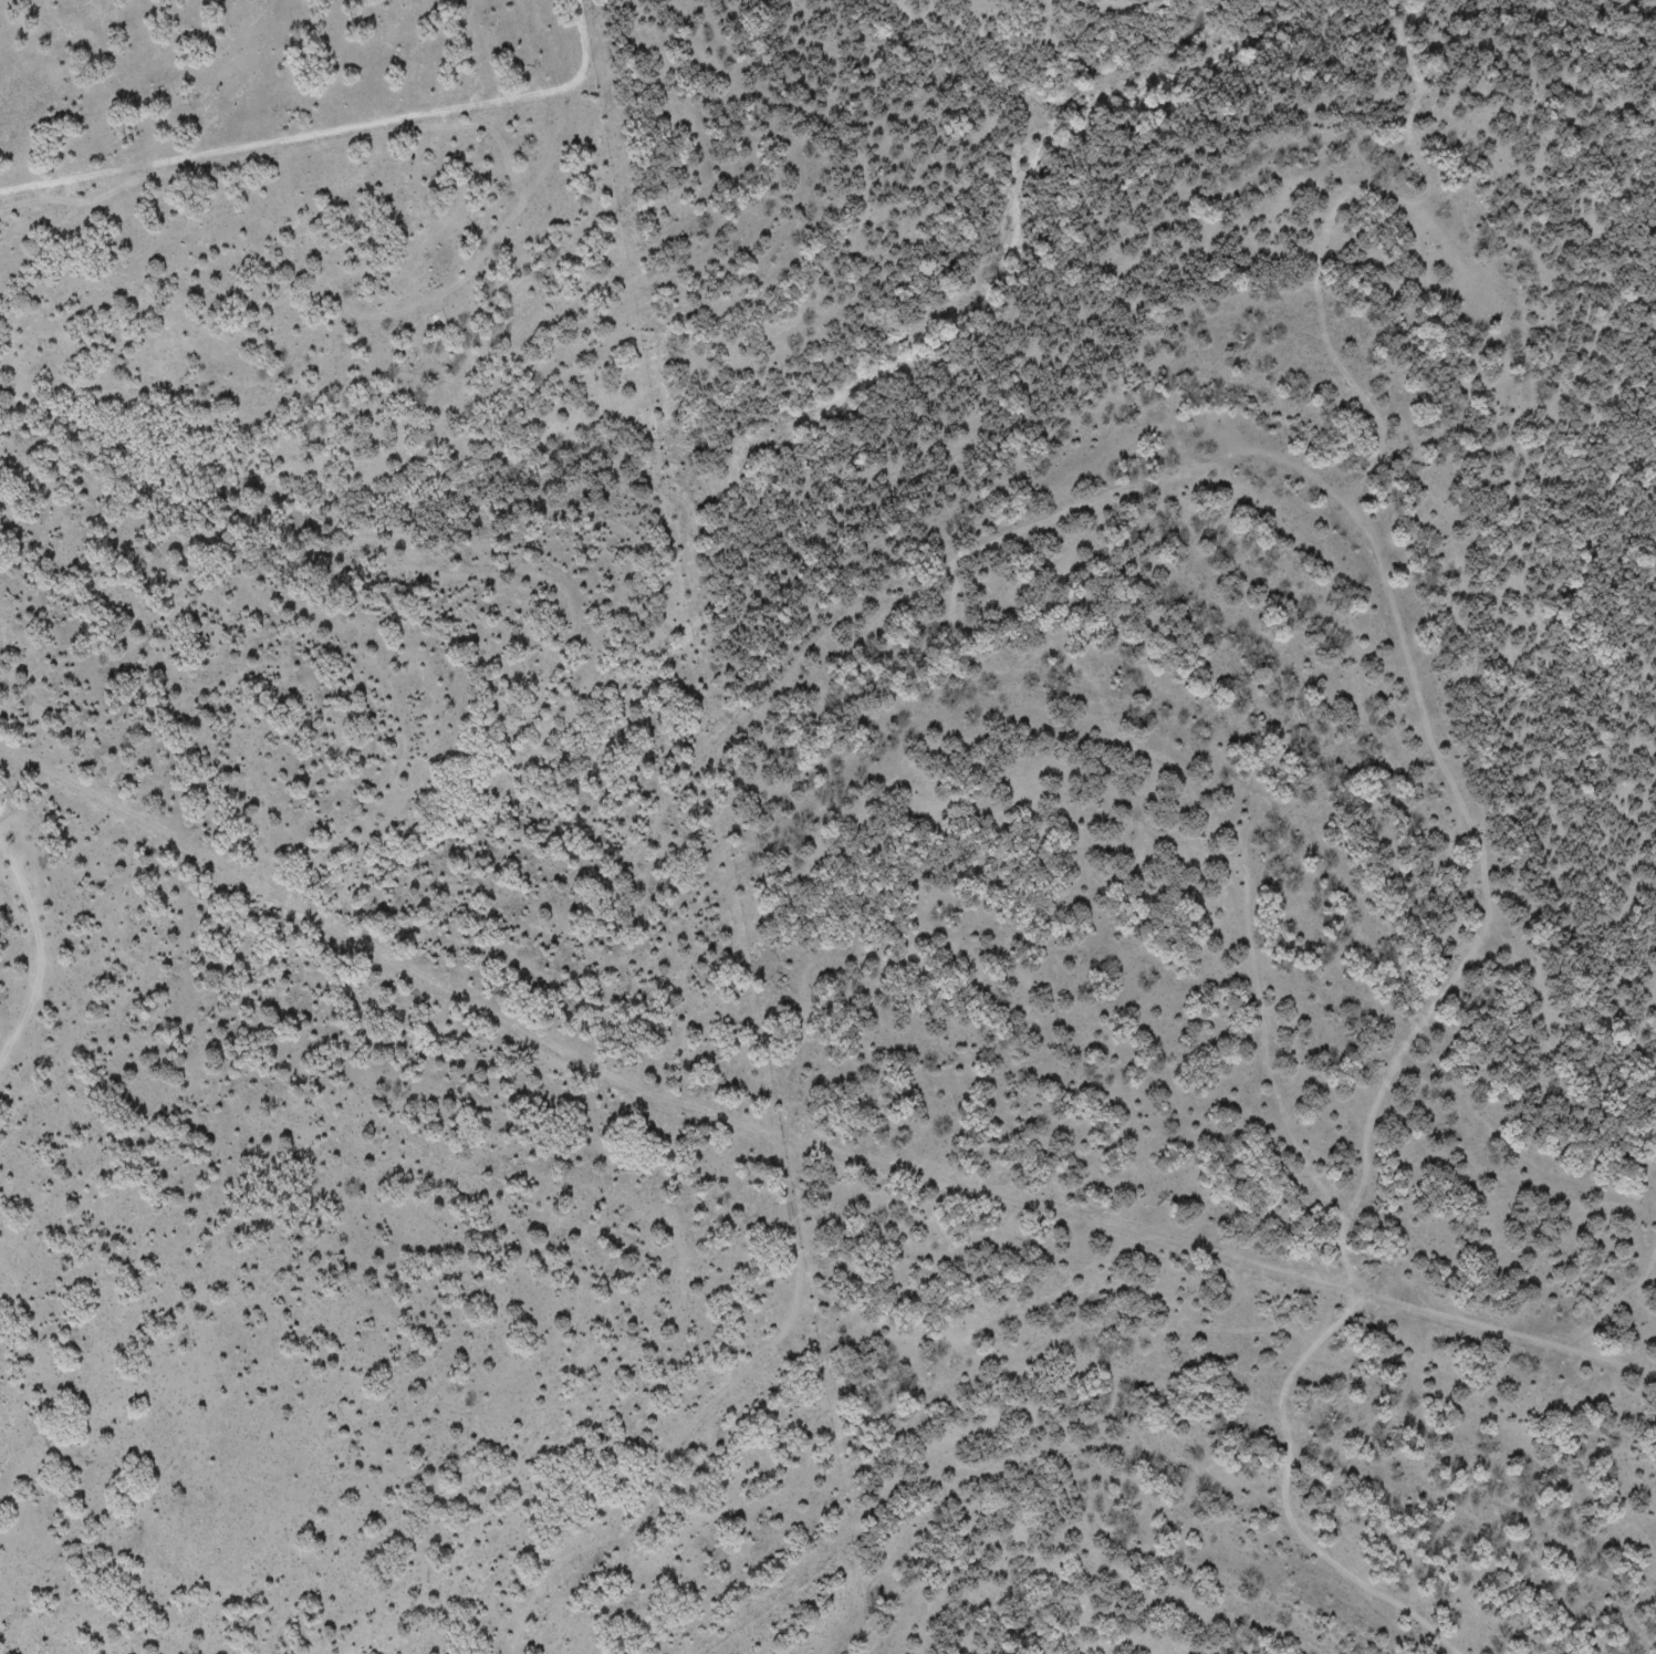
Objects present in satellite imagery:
road: (15, 936)

